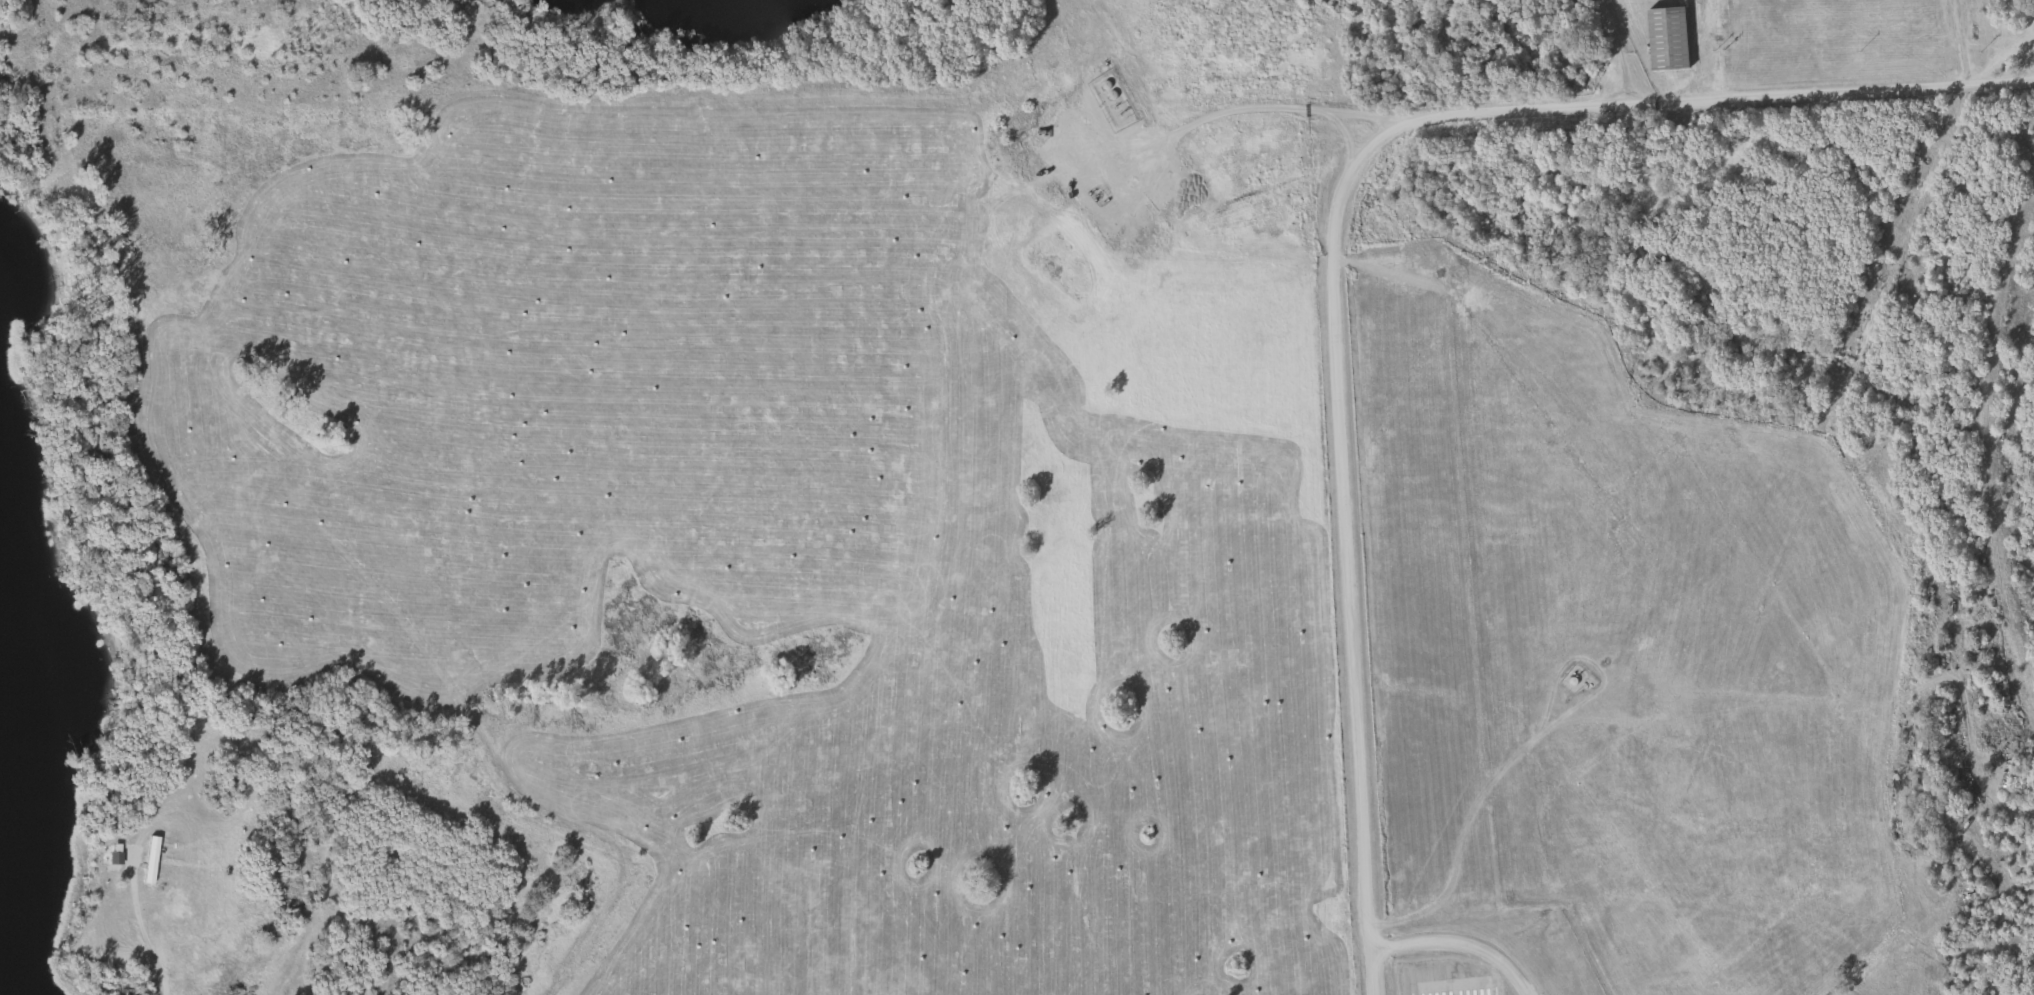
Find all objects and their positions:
building: (2003, 14)
building: (1663, 39)
road: (1333, 290)
road: (2001, 467)
road: (145, 936)
airport: (1472, 958)
road: (1374, 970)
airport runway: (1452, 980)
airport: (1841, 991)

